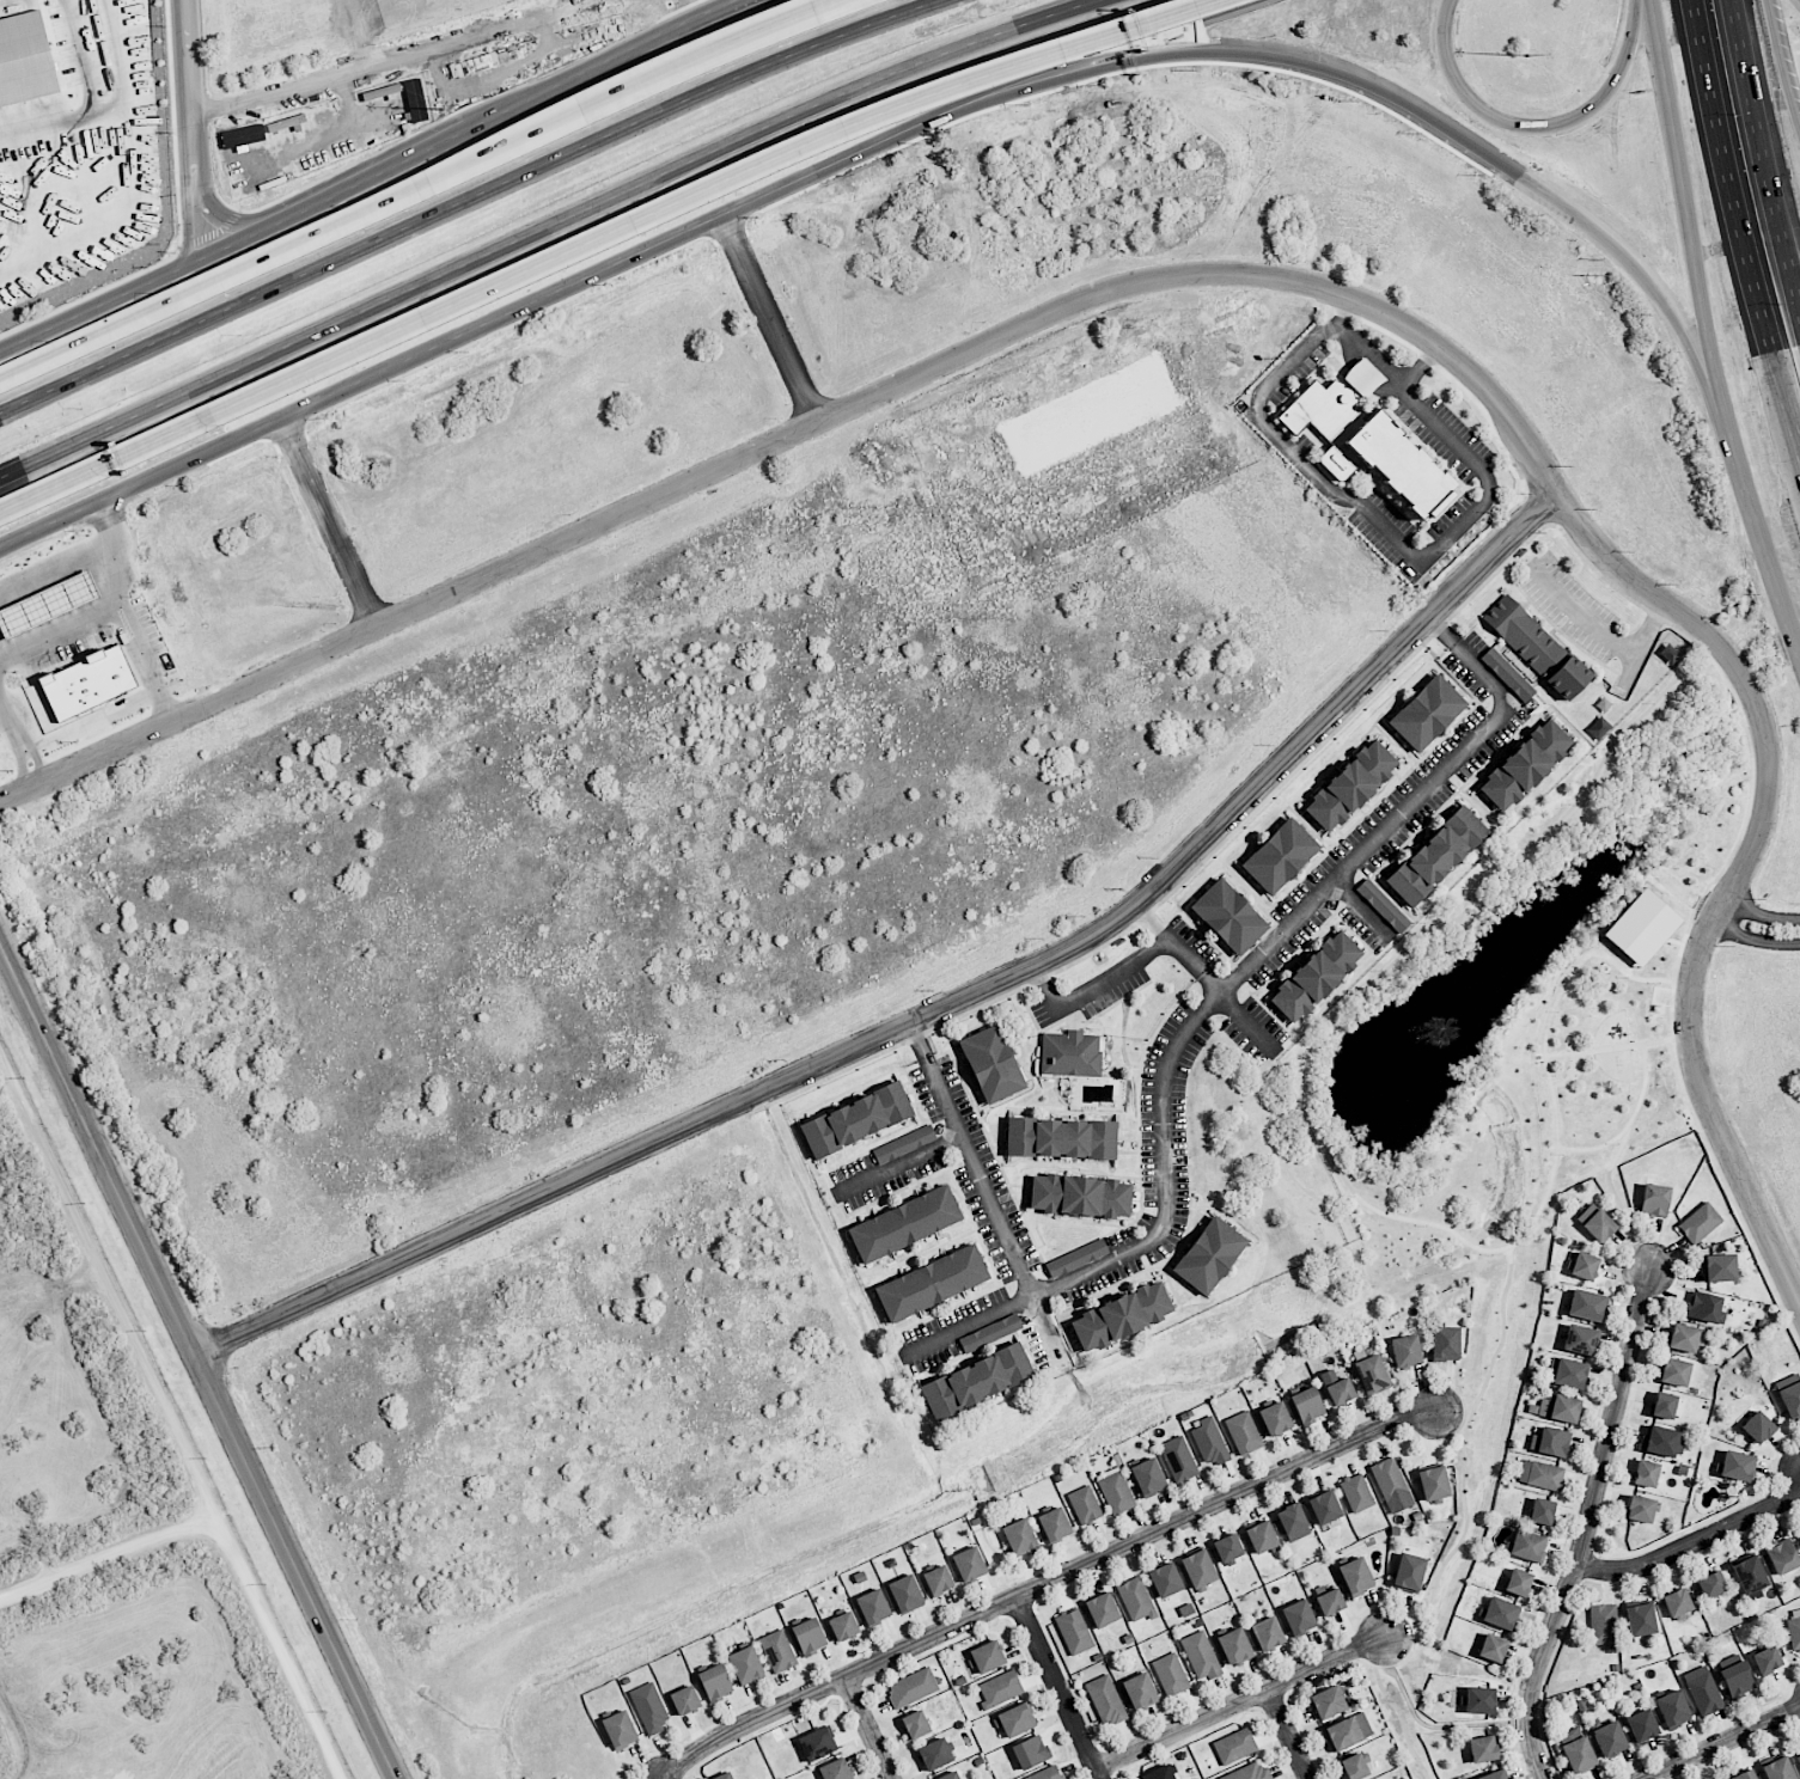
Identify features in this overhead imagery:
road: (1649, 4)
road: (1793, 6)
road: (823, 8)
road: (737, 14)
road: (1155, 36)
road: (81, 56)
road: (390, 59)
building: (25, 60)
road: (1783, 62)
road: (585, 82)
road: (628, 88)
building: (415, 99)
road: (115, 109)
road: (1439, 129)
road: (1534, 129)
road: (193, 133)
road: (884, 135)
road: (1761, 153)
road: (374, 184)
road: (701, 191)
road: (466, 197)
road: (1685, 206)
road: (1744, 220)
road: (232, 222)
road: (544, 227)
road: (667, 242)
road: (240, 246)
road: (232, 274)
road: (100, 311)
road: (1340, 313)
road: (769, 318)
road: (304, 401)
road: (800, 427)
building: (1366, 439)
road: (103, 461)
road: (1740, 464)
road: (1367, 511)
road: (329, 520)
road: (60, 569)
road: (1777, 587)
building: (54, 605)
gas station: (54, 605)
road: (108, 607)
road: (1607, 634)
building: (1536, 646)
building: (1670, 653)
road: (144, 665)
building: (1507, 674)
building: (98, 683)
road: (1336, 713)
building: (1426, 713)
road: (19, 746)
building: (1524, 764)
building: (1350, 785)
building: (1279, 855)
building: (1435, 855)
road: (1743, 872)
building: (1383, 905)
road: (1361, 909)
road: (1763, 912)
building: (1228, 916)
road: (1157, 924)
road: (1756, 939)
road: (1158, 950)
building: (1314, 976)
road: (1215, 1002)
park: (1530, 1004)
road: (1621, 1047)
building: (1070, 1052)
building: (991, 1063)
building: (856, 1118)
road: (1635, 1124)
building: (1061, 1137)
road: (653, 1142)
building: (903, 1143)
road: (1330, 1143)
road: (97, 1148)
road: (1280, 1154)
road: (975, 1159)
road: (902, 1168)
building: (1079, 1194)
road: (1619, 1199)
building: (1654, 1200)
building: (903, 1223)
building: (1700, 1223)
building: (1598, 1225)
building: (1209, 1254)
building: (1076, 1258)
building: (1584, 1266)
building: (1719, 1267)
building: (930, 1283)
road: (115, 1295)
building: (1586, 1304)
building: (1706, 1308)
building: (1119, 1315)
road: (1048, 1326)
building: (989, 1332)
building: (1683, 1338)
building: (1580, 1339)
building: (1445, 1344)
building: (1405, 1351)
building: (1674, 1371)
building: (1566, 1373)
building: (1371, 1374)
building: (976, 1380)
building: (1341, 1392)
building: (1790, 1399)
building: (1307, 1405)
building: (1664, 1405)
building: (1558, 1407)
building: (1275, 1418)
building: (1757, 1428)
building: (1244, 1432)
building: (1209, 1441)
building: (1551, 1442)
building: (1664, 1442)
building: (1178, 1459)
building: (1737, 1466)
building: (1646, 1473)
building: (1540, 1474)
building: (1148, 1477)
building: (1433, 1482)
building: (1391, 1485)
building: (1115, 1491)
building: (1356, 1492)
building: (1085, 1504)
building: (1324, 1508)
building: (1640, 1509)
building: (1542, 1511)
building: (1293, 1522)
road: (1586, 1523)
building: (1054, 1524)
building: (1019, 1536)
building: (1261, 1536)
road: (1468, 1536)
road: (1691, 1539)
building: (1527, 1546)
building: (1227, 1547)
road: (233, 1551)
building: (1782, 1557)
building: (969, 1564)
road: (293, 1566)
building: (1198, 1569)
building: (1408, 1572)
building: (1749, 1575)
building: (1356, 1577)
building: (1165, 1579)
building: (938, 1581)
building: (1518, 1582)
road: (1044, 1584)
building: (1711, 1584)
building: (905, 1594)
building: (1136, 1600)
building: (1330, 1602)
building: (1677, 1602)
building: (873, 1606)
building: (1102, 1609)
building: (1500, 1613)
building: (1299, 1616)
building: (1640, 1619)
building: (1603, 1625)
building: (843, 1626)
building: (1794, 1628)
building: (1074, 1631)
building: (1267, 1633)
building: (809, 1636)
building: (1234, 1646)
building: (1493, 1647)
building: (777, 1651)
building: (987, 1656)
building: (1201, 1656)
building: (1767, 1659)
building: (745, 1664)
building: (1171, 1674)
building: (1737, 1680)
building: (715, 1682)
building: (913, 1687)
road: (1058, 1687)
building: (1000, 1689)
building: (1140, 1691)
building: (1703, 1691)
building: (684, 1700)
building: (1105, 1700)
building: (1478, 1700)
road: (1240, 1701)
building: (1328, 1701)
building: (649, 1707)
building: (1672, 1708)
building: (1017, 1719)
building: (915, 1724)
building: (1641, 1725)
road: (871, 1729)
road: (20, 1730)
building: (620, 1730)
building: (1347, 1731)
road: (1290, 1734)
building: (1610, 1738)
road: (1721, 1742)
building: (818, 1743)
building: (1234, 1746)
building: (1483, 1749)
building: (1030, 1752)
building: (934, 1754)
building: (1579, 1755)
building: (1798, 1759)
building: (1354, 1766)
building: (835, 1769)
building: (1777, 1769)
building: (1045, 1773)
building: (1158, 1773)
building: (1249, 1773)
building: (1494, 1774)
building: (724, 1775)
building: (948, 1775)
building: (1744, 1775)

